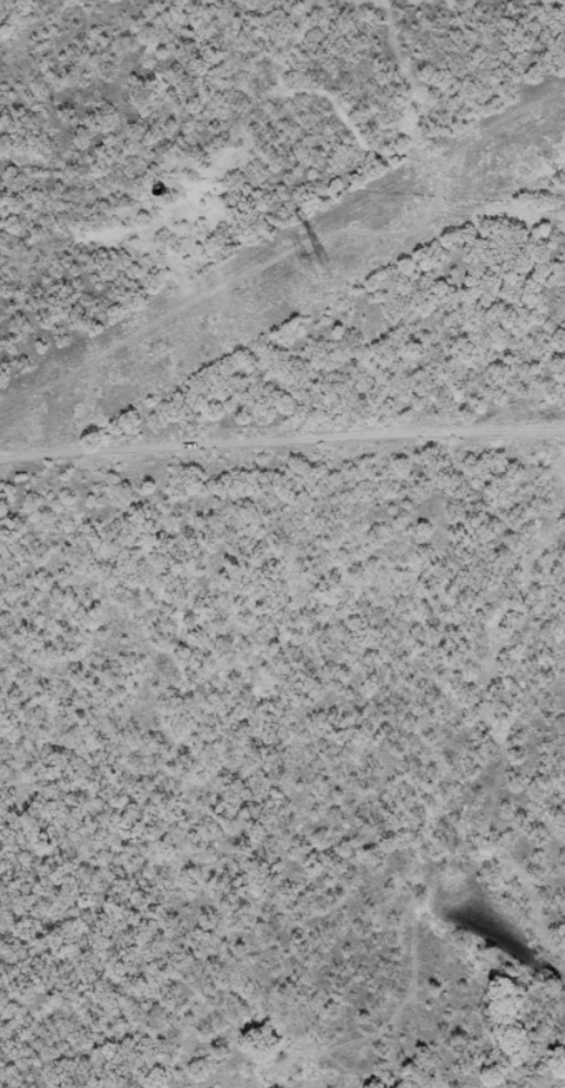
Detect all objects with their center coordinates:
power tower: (322, 256)
road: (281, 451)

